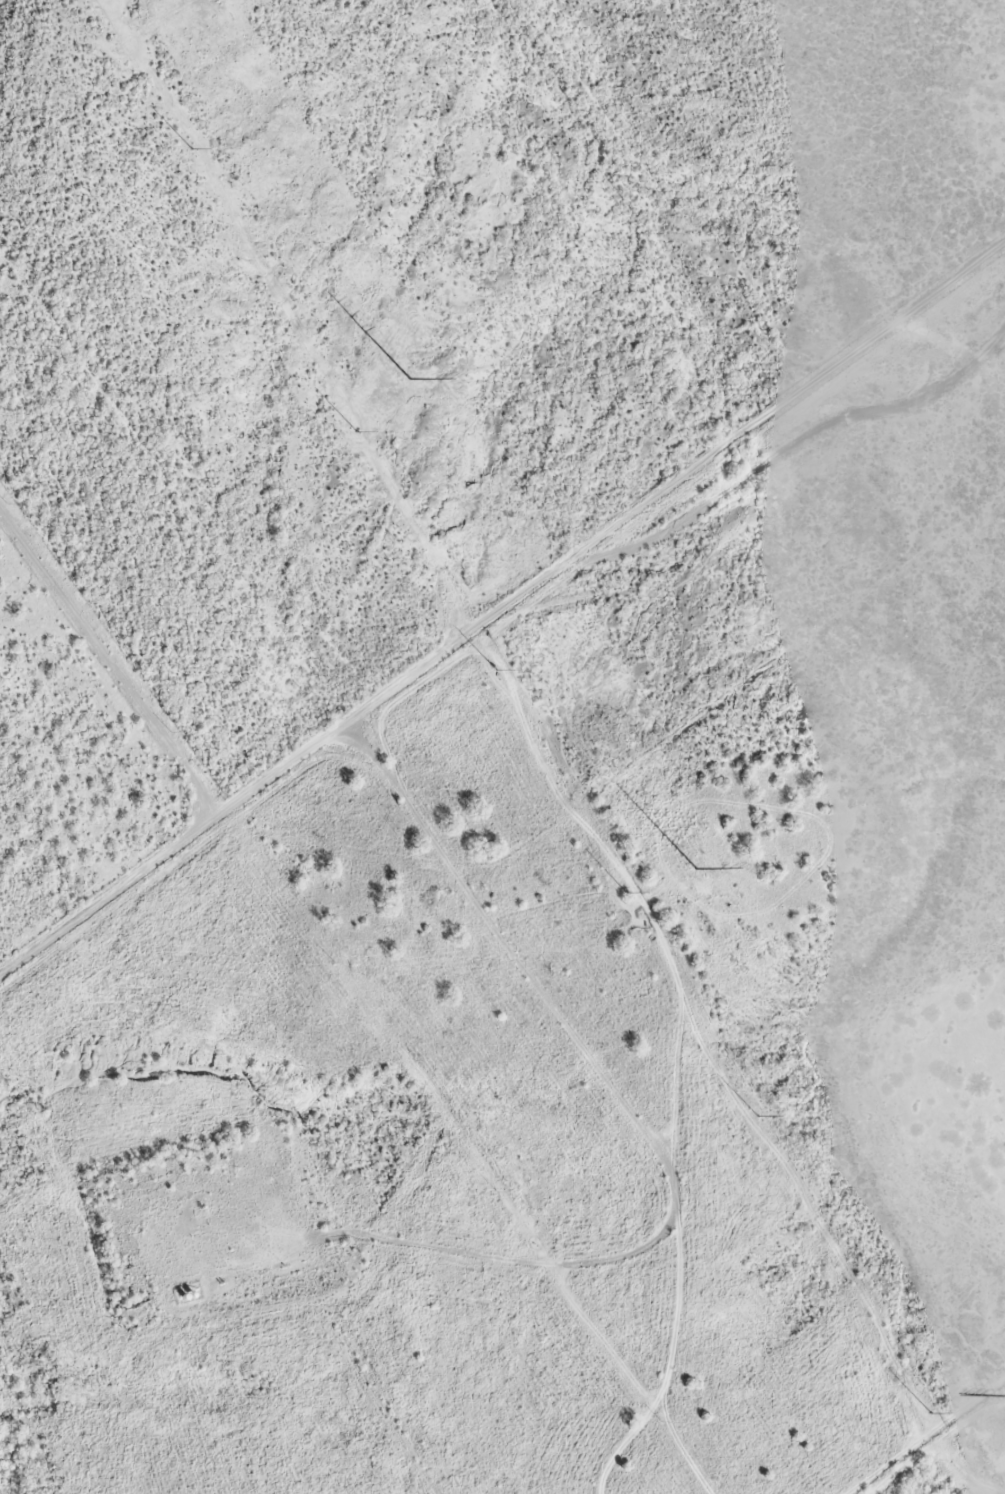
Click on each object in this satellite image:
power tower: (189, 149)
power tower: (405, 381)
power tower: (354, 432)
road: (477, 642)
power tower: (494, 670)
power tower: (694, 868)
power tower: (624, 893)
power tower: (753, 1117)
power tower: (1001, 1396)
power tower: (929, 1414)

